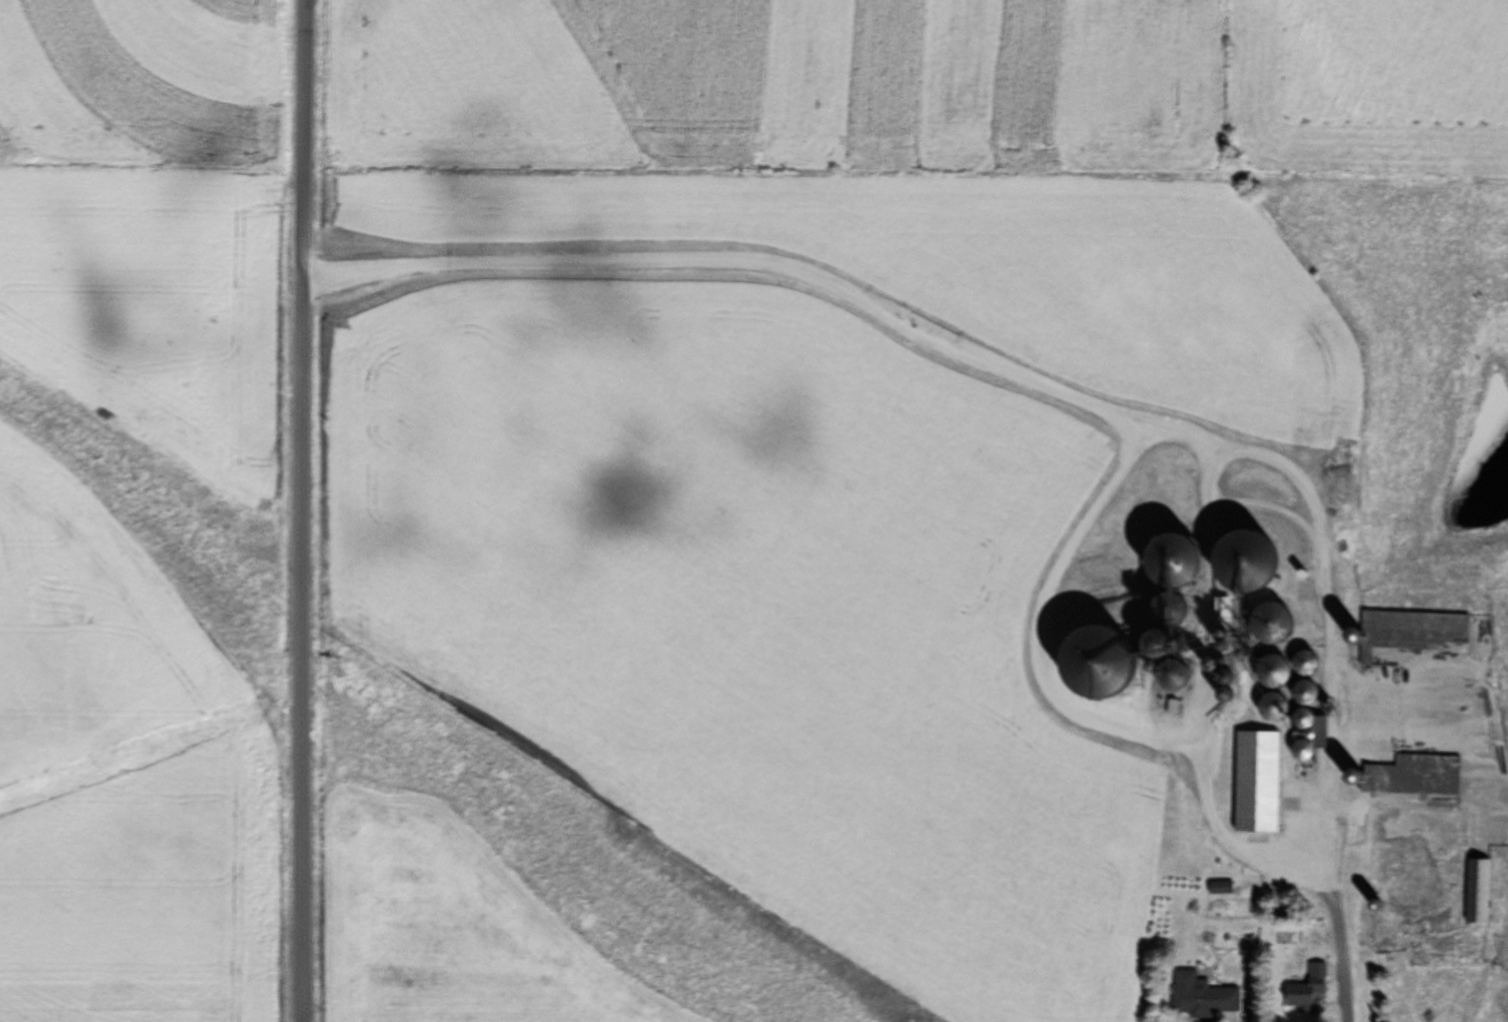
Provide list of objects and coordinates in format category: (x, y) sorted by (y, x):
road: (298, 511)
building: (1250, 564)
building: (1179, 579)
building: (1276, 626)
building: (1415, 632)
building: (1096, 662)
building: (1276, 672)
building: (1274, 708)
building: (1306, 722)
building: (1306, 752)
building: (1412, 776)
building: (1258, 783)
building: (1400, 858)
building: (1221, 888)
building: (1478, 891)
building: (1308, 989)
building: (1202, 996)

